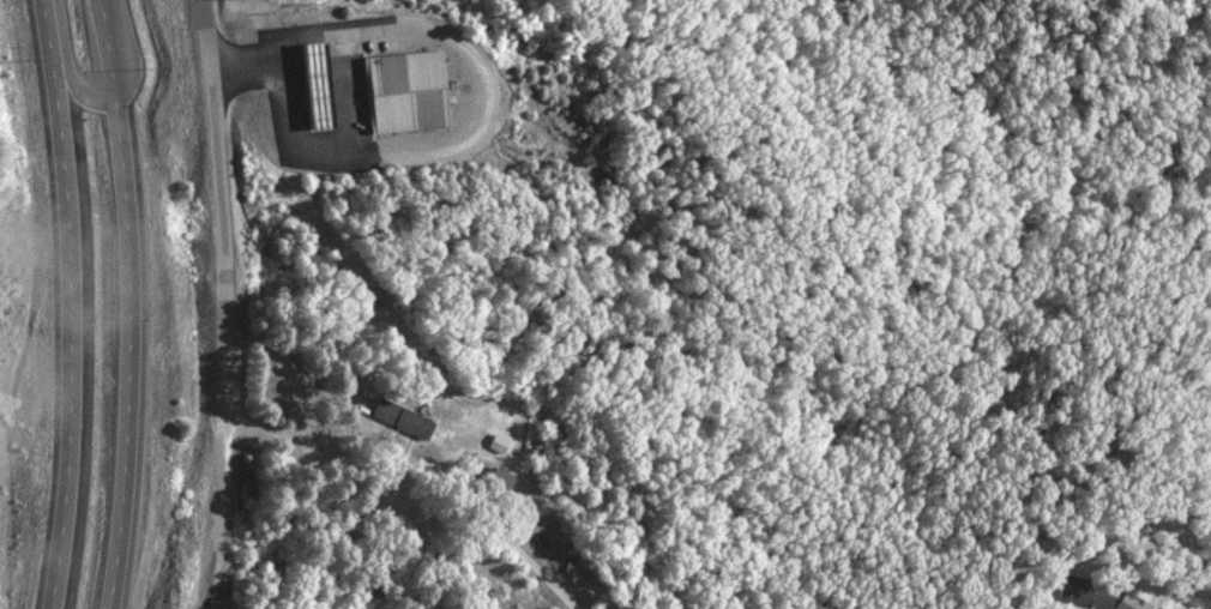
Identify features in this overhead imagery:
road: (48, 29)
road: (108, 40)
road: (66, 70)
road: (97, 83)
building: (313, 86)
building: (402, 91)
road: (218, 133)
road: (70, 333)
road: (118, 344)
road: (227, 346)
building: (397, 418)
building: (494, 442)
road: (222, 457)
road: (423, 471)
building: (494, 482)

